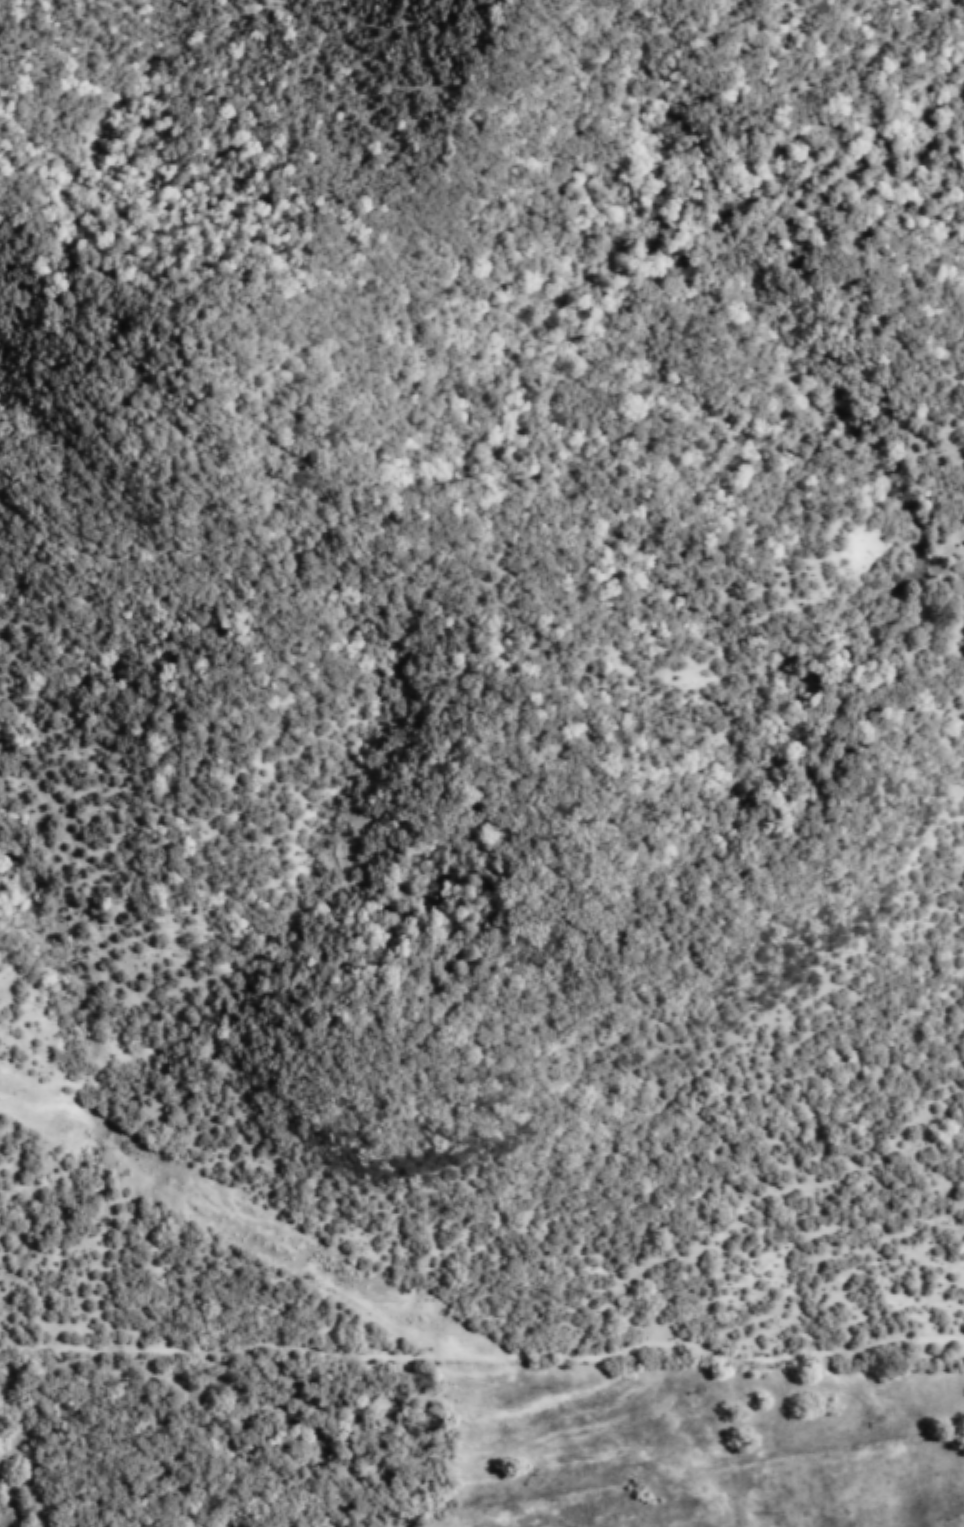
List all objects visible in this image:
power tower: (521, 1368)

